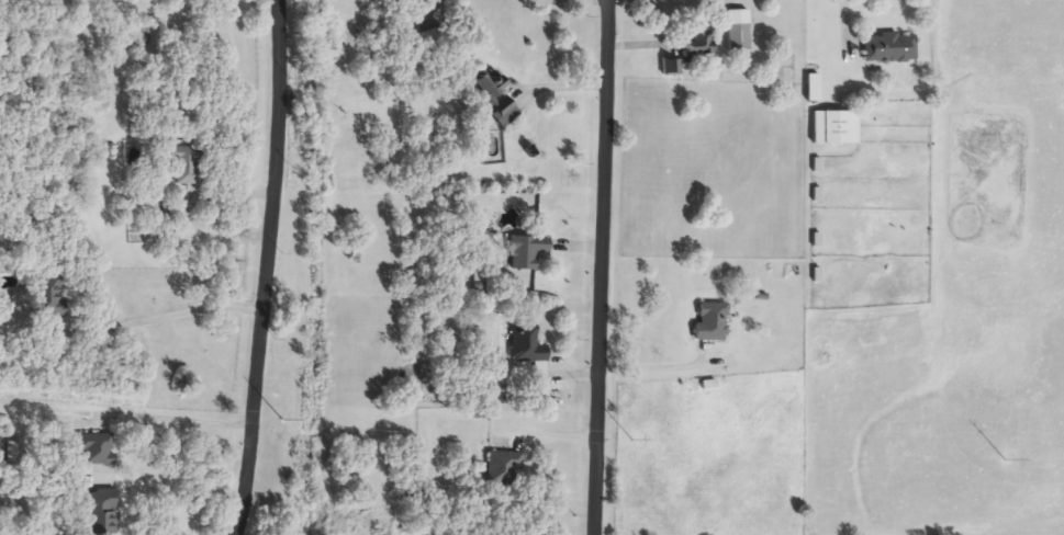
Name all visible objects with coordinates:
building: (737, 37)
building: (426, 42)
building: (698, 45)
building: (888, 48)
building: (682, 59)
building: (675, 68)
building: (496, 94)
building: (356, 98)
building: (839, 128)
building: (183, 163)
building: (526, 252)
road: (264, 267)
road: (600, 267)
building: (46, 296)
road: (163, 318)
building: (710, 322)
building: (524, 345)
road: (654, 367)
building: (539, 382)
road: (166, 419)
power tower: (278, 419)
power tower: (632, 437)
building: (96, 448)
power tower: (1003, 455)
building: (503, 467)
road: (165, 487)
building: (101, 512)

